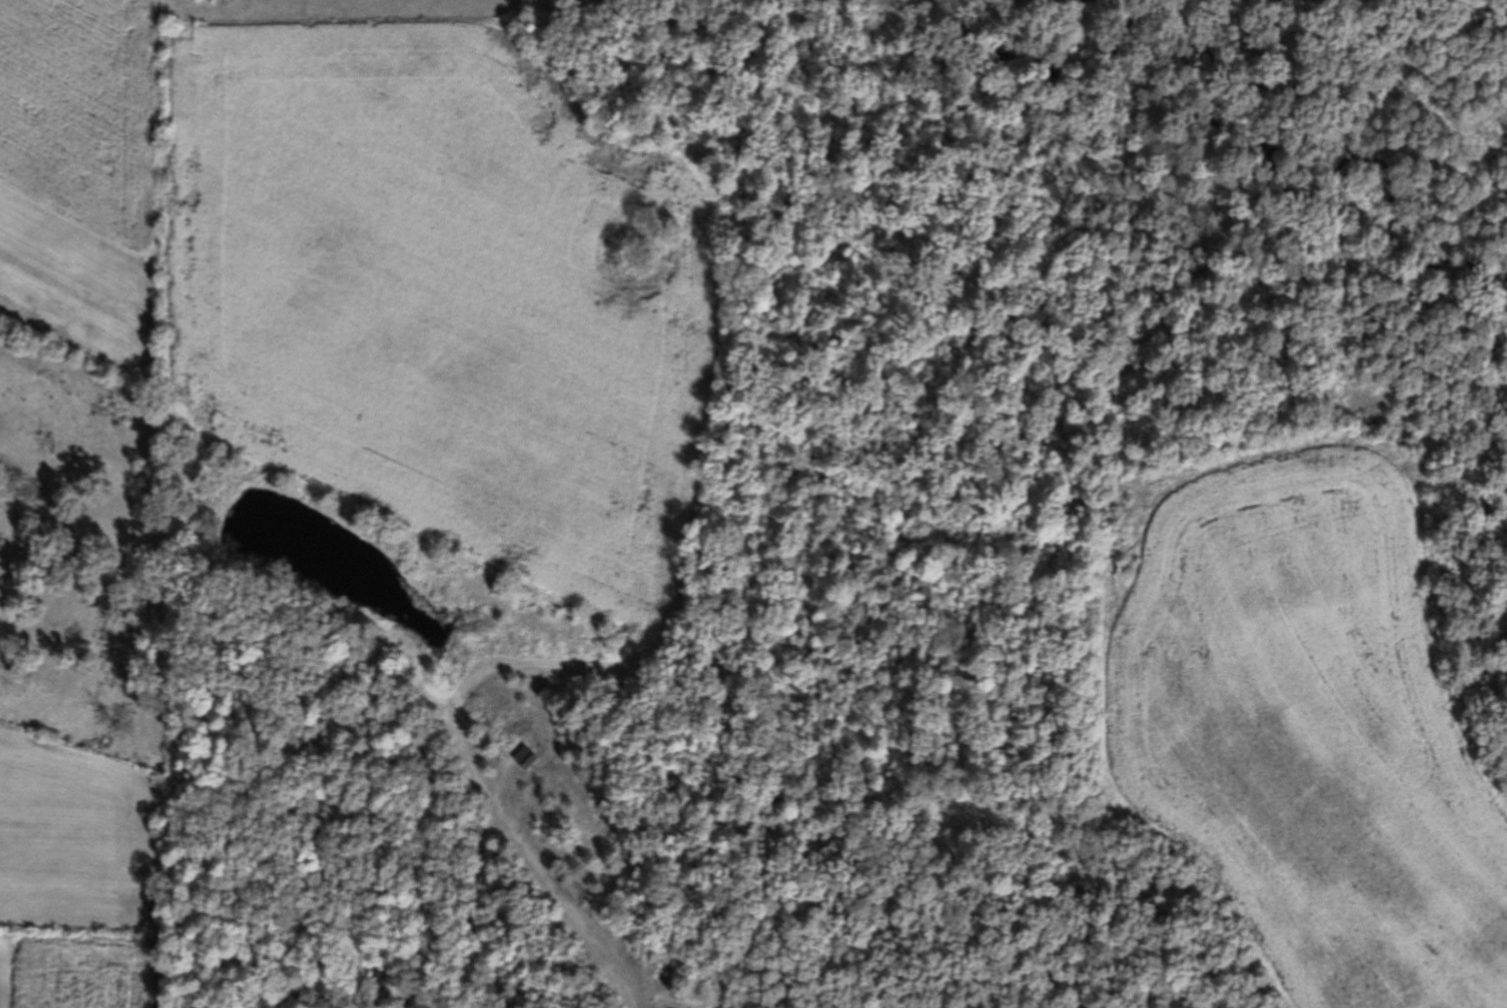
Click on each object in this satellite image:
building: (526, 758)

